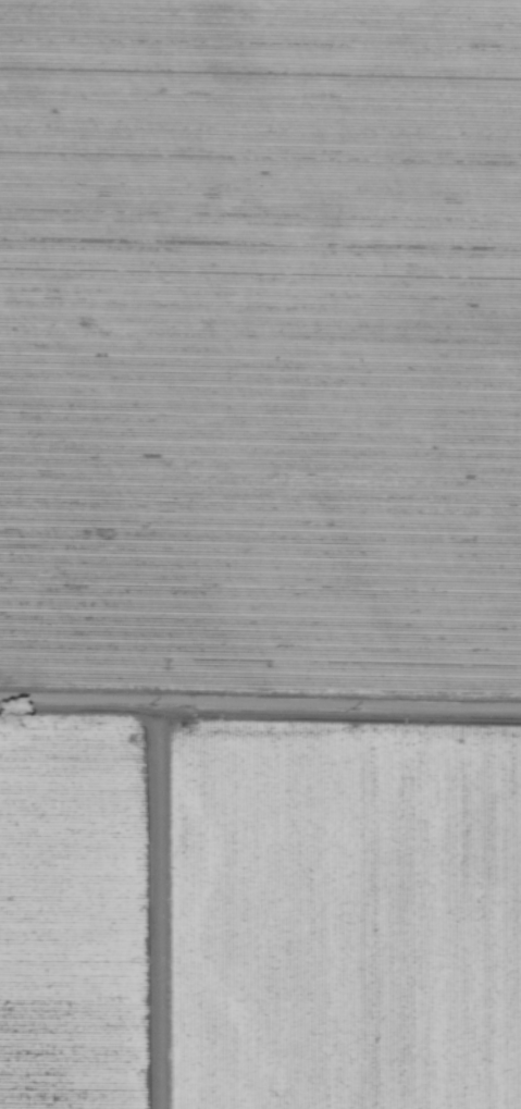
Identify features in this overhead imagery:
road: (260, 701)

